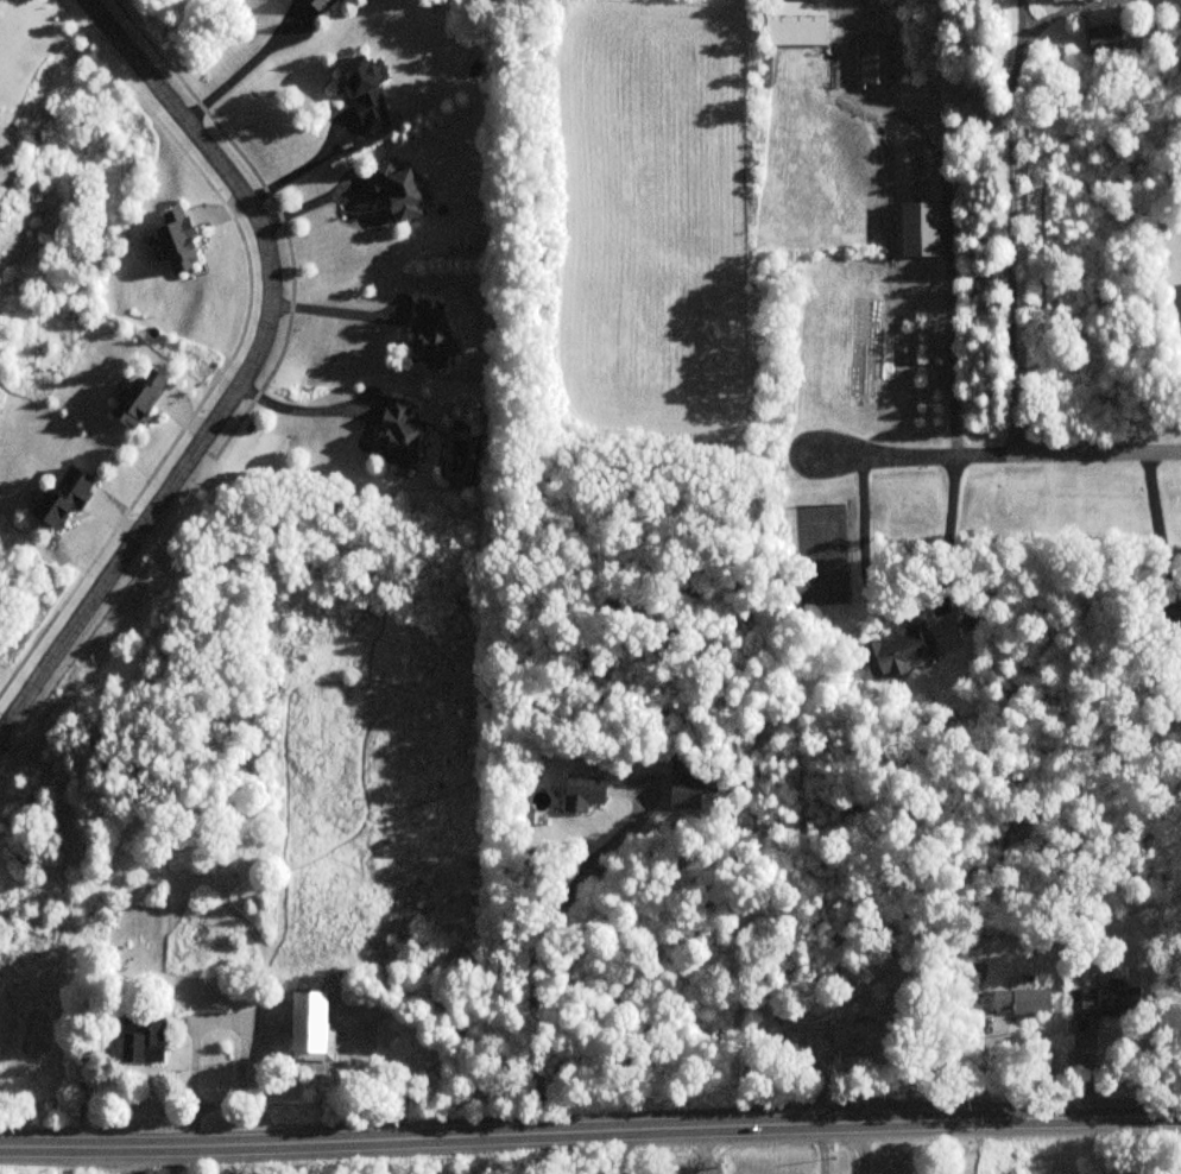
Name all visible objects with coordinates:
building: (321, 4)
road: (1055, 13)
building: (795, 24)
building: (1104, 38)
road: (1022, 48)
building: (874, 61)
road: (247, 67)
building: (364, 94)
road: (305, 166)
building: (398, 192)
road: (949, 214)
building: (918, 228)
building: (177, 241)
road: (1013, 273)
road: (335, 313)
building: (430, 334)
road: (247, 373)
building: (138, 398)
road: (298, 411)
building: (397, 435)
road: (1000, 452)
building: (62, 497)
road: (1155, 524)
road: (904, 601)
building: (1170, 620)
building: (895, 652)
building: (583, 793)
building: (686, 794)
road: (531, 954)
building: (1022, 1001)
building: (1110, 1001)
road: (213, 1023)
building: (310, 1028)
building: (852, 1035)
building: (143, 1040)
road: (589, 1132)
road: (865, 1148)
road: (618, 1153)
park: (329, 1168)

